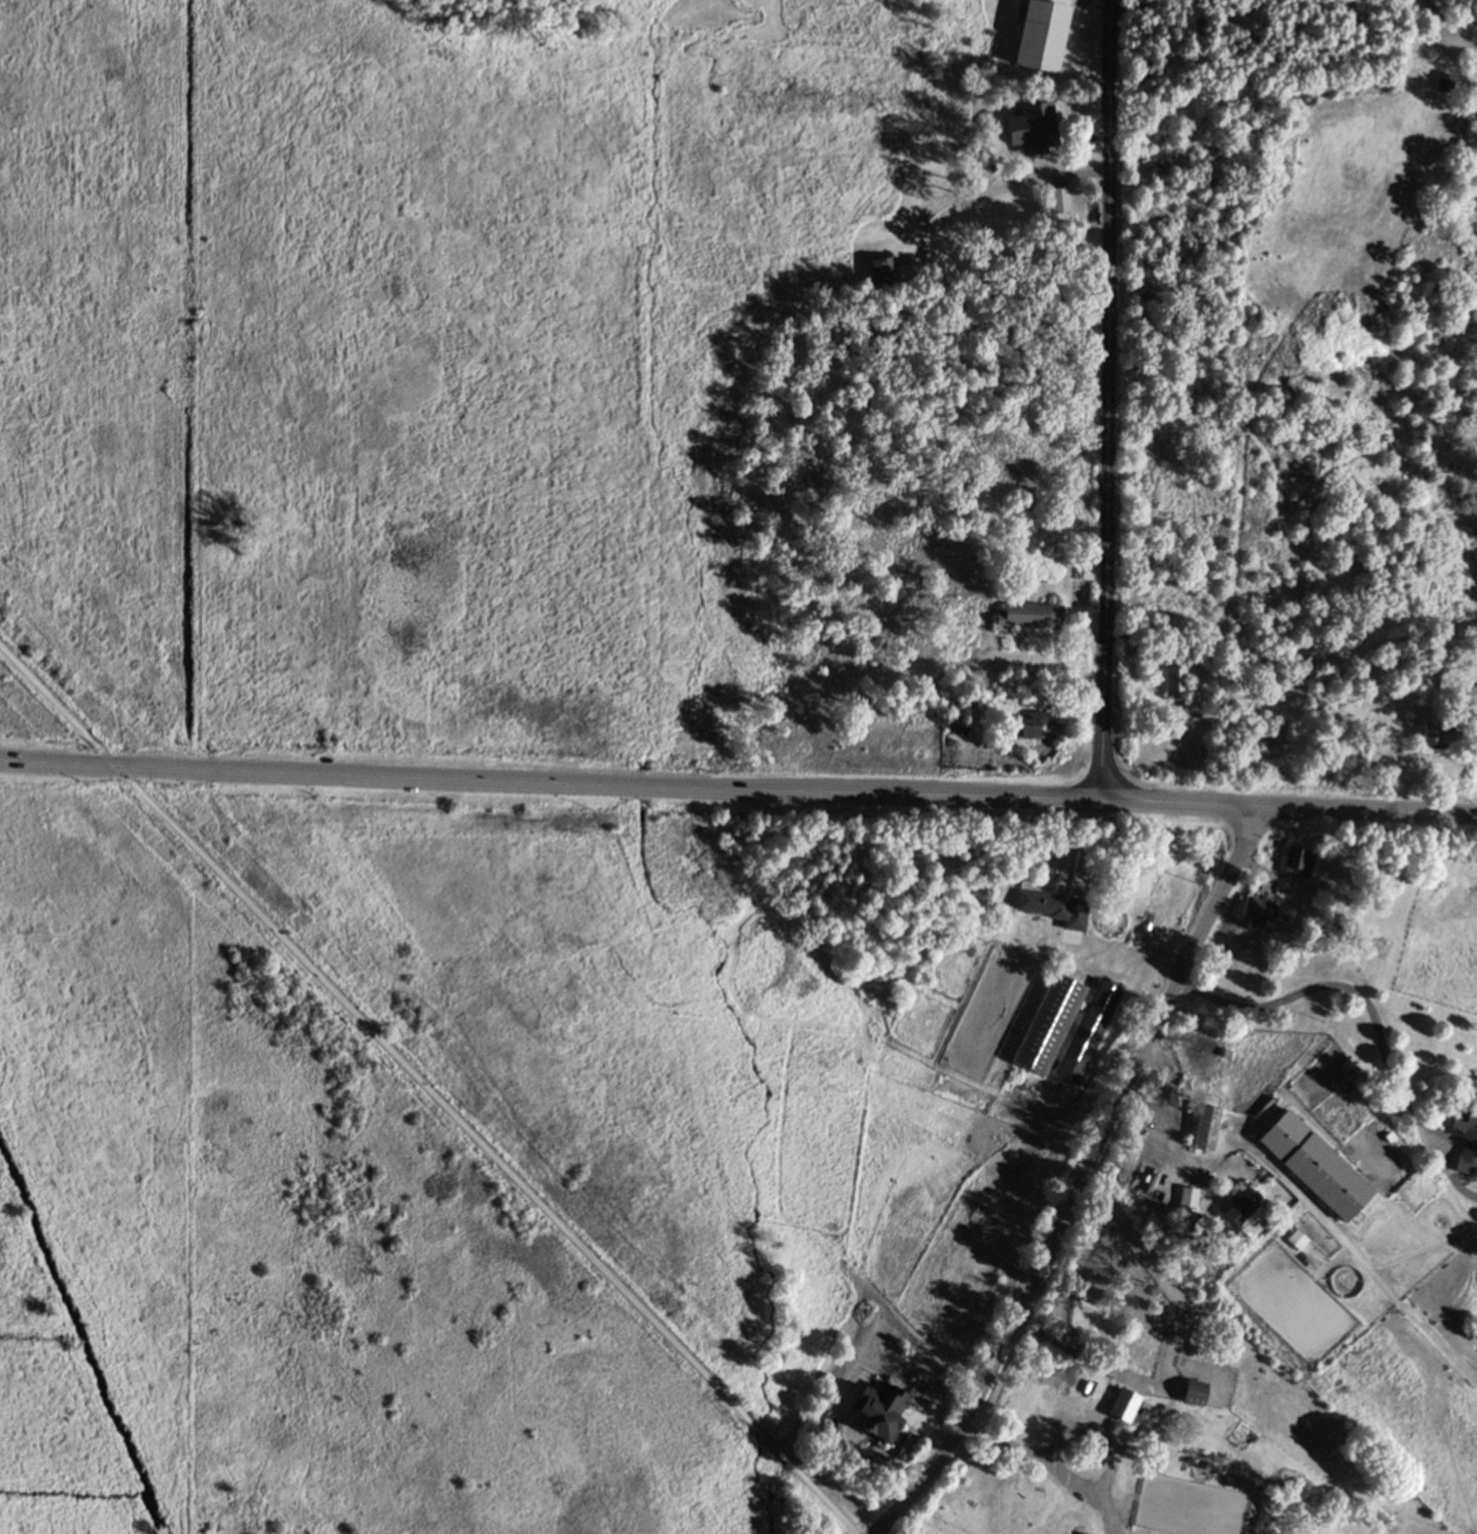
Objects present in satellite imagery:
road: (1143, 13)
building: (1037, 31)
road: (1473, 37)
building: (1029, 125)
building: (1057, 199)
building: (885, 268)
road: (1108, 399)
building: (1029, 614)
building: (1356, 627)
building: (1175, 677)
building: (1451, 684)
building: (1029, 724)
building: (1436, 730)
road: (738, 789)
building: (1299, 860)
building: (1043, 902)
building: (1261, 909)
road: (1122, 951)
road: (1349, 987)
building: (1050, 1023)
building: (1088, 1031)
road: (427, 1090)
road: (1168, 1127)
building: (1204, 1130)
building: (1465, 1138)
building: (1315, 1164)
road: (1080, 1179)
building: (1186, 1206)
building: (1239, 1209)
building: (1194, 1390)
building: (1047, 1409)
building: (881, 1410)
road: (1049, 1471)

